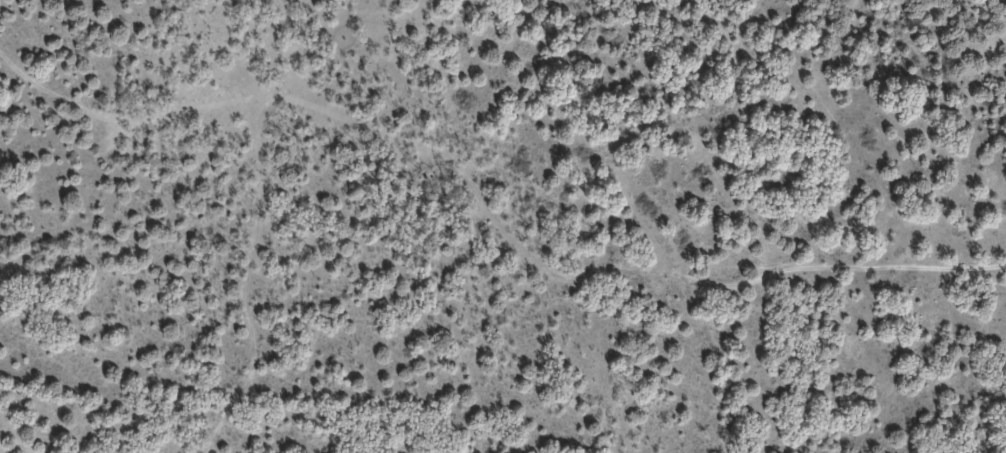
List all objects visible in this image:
road: (493, 177)

